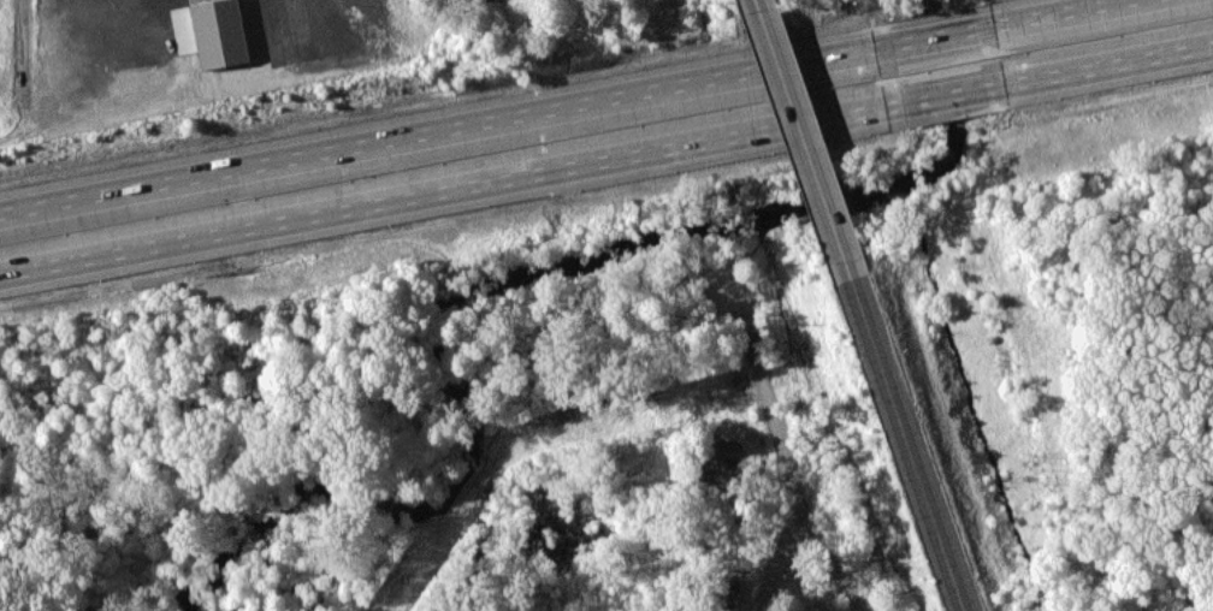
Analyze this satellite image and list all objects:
road: (563, 106)
road: (792, 125)
road: (605, 159)
road: (900, 429)
road: (797, 488)
road: (832, 559)

